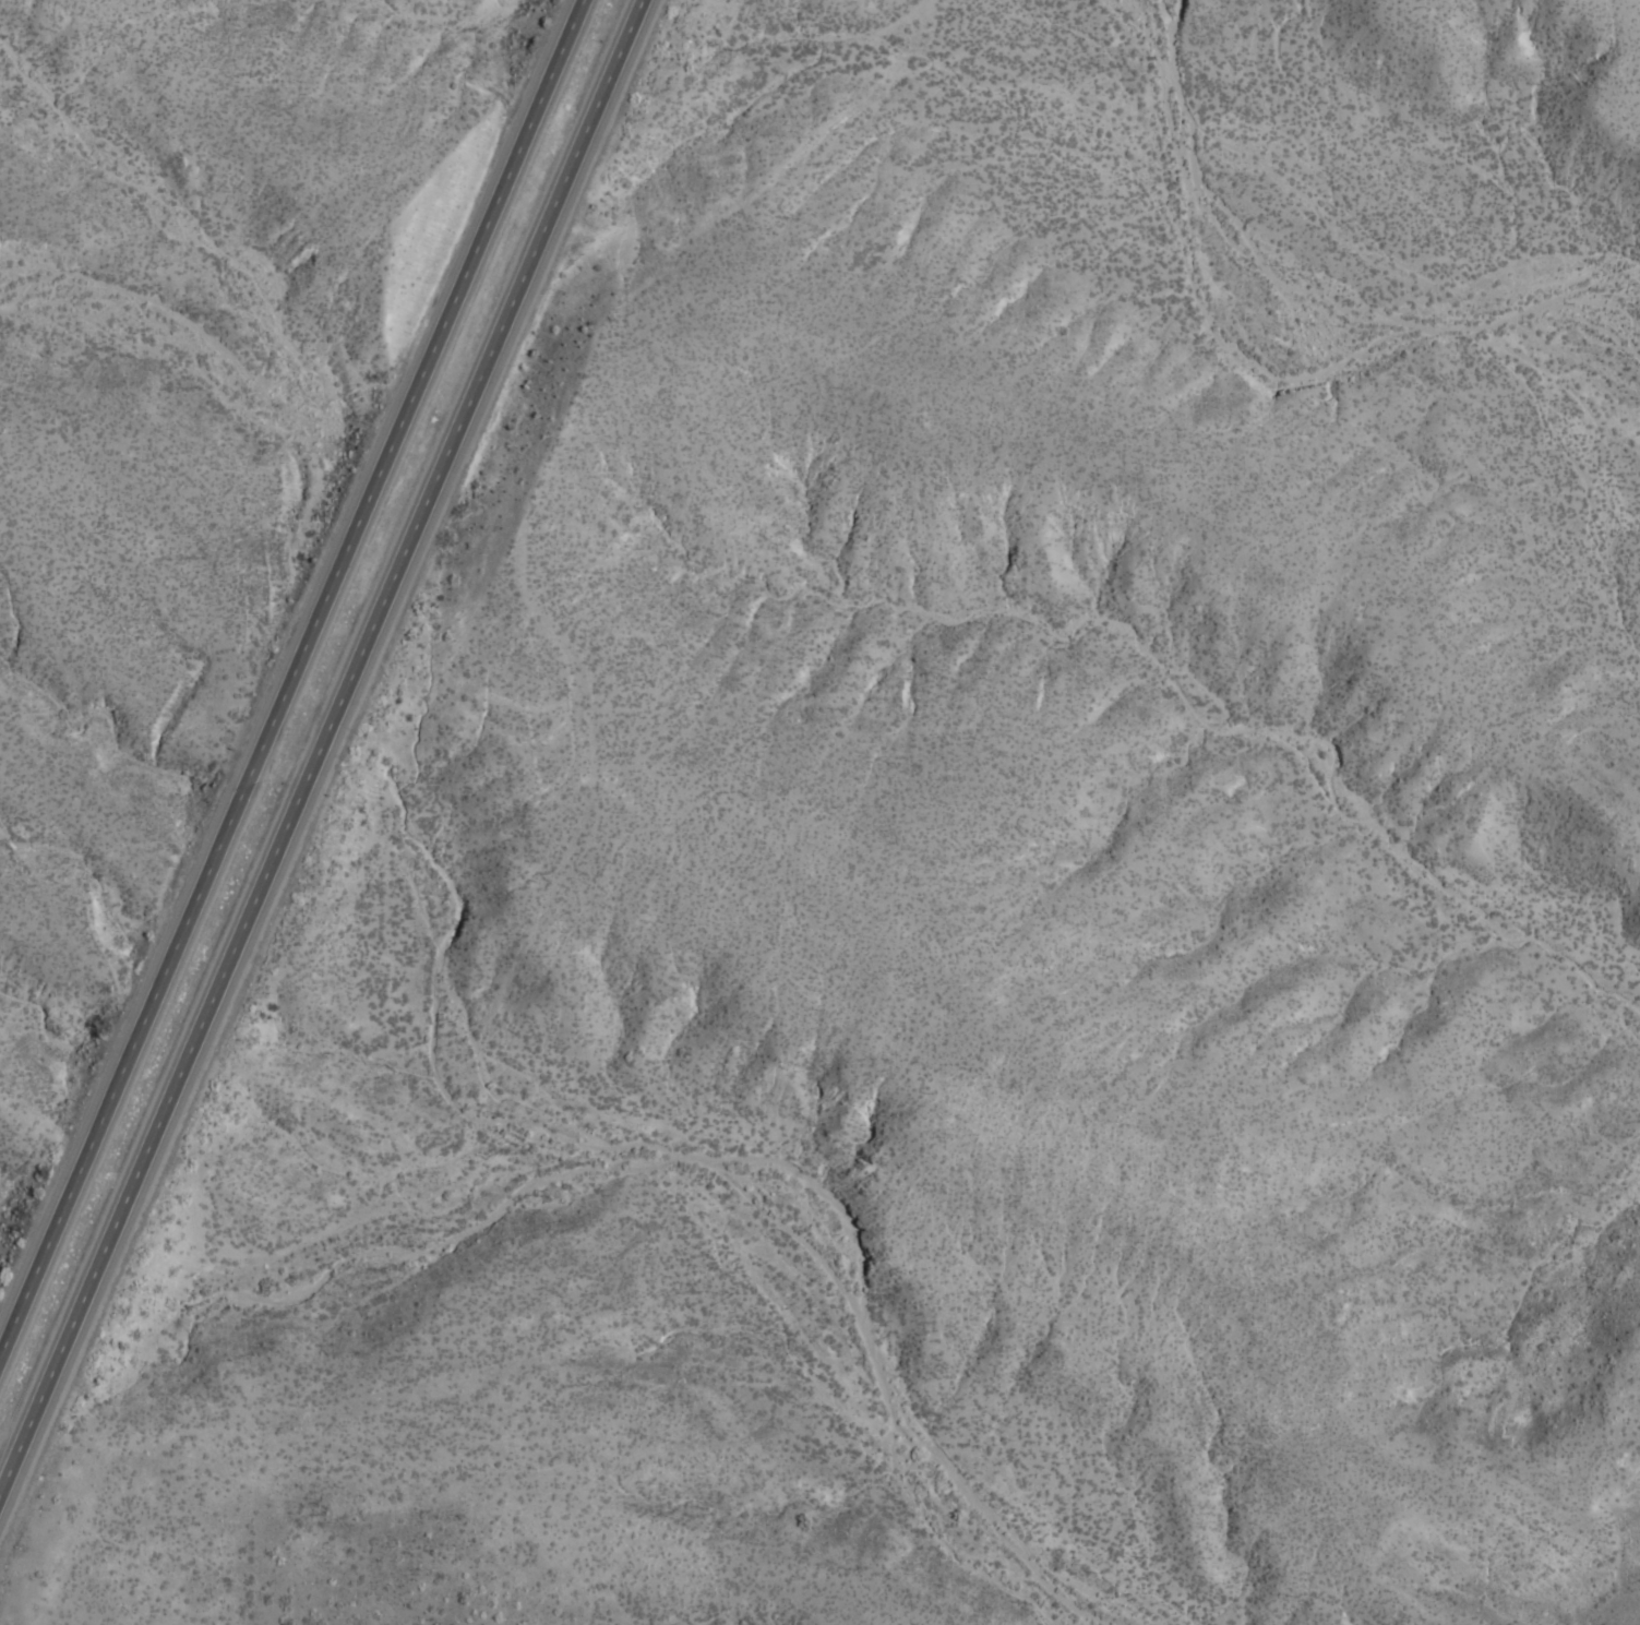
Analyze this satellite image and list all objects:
road: (292, 677)
road: (322, 746)

